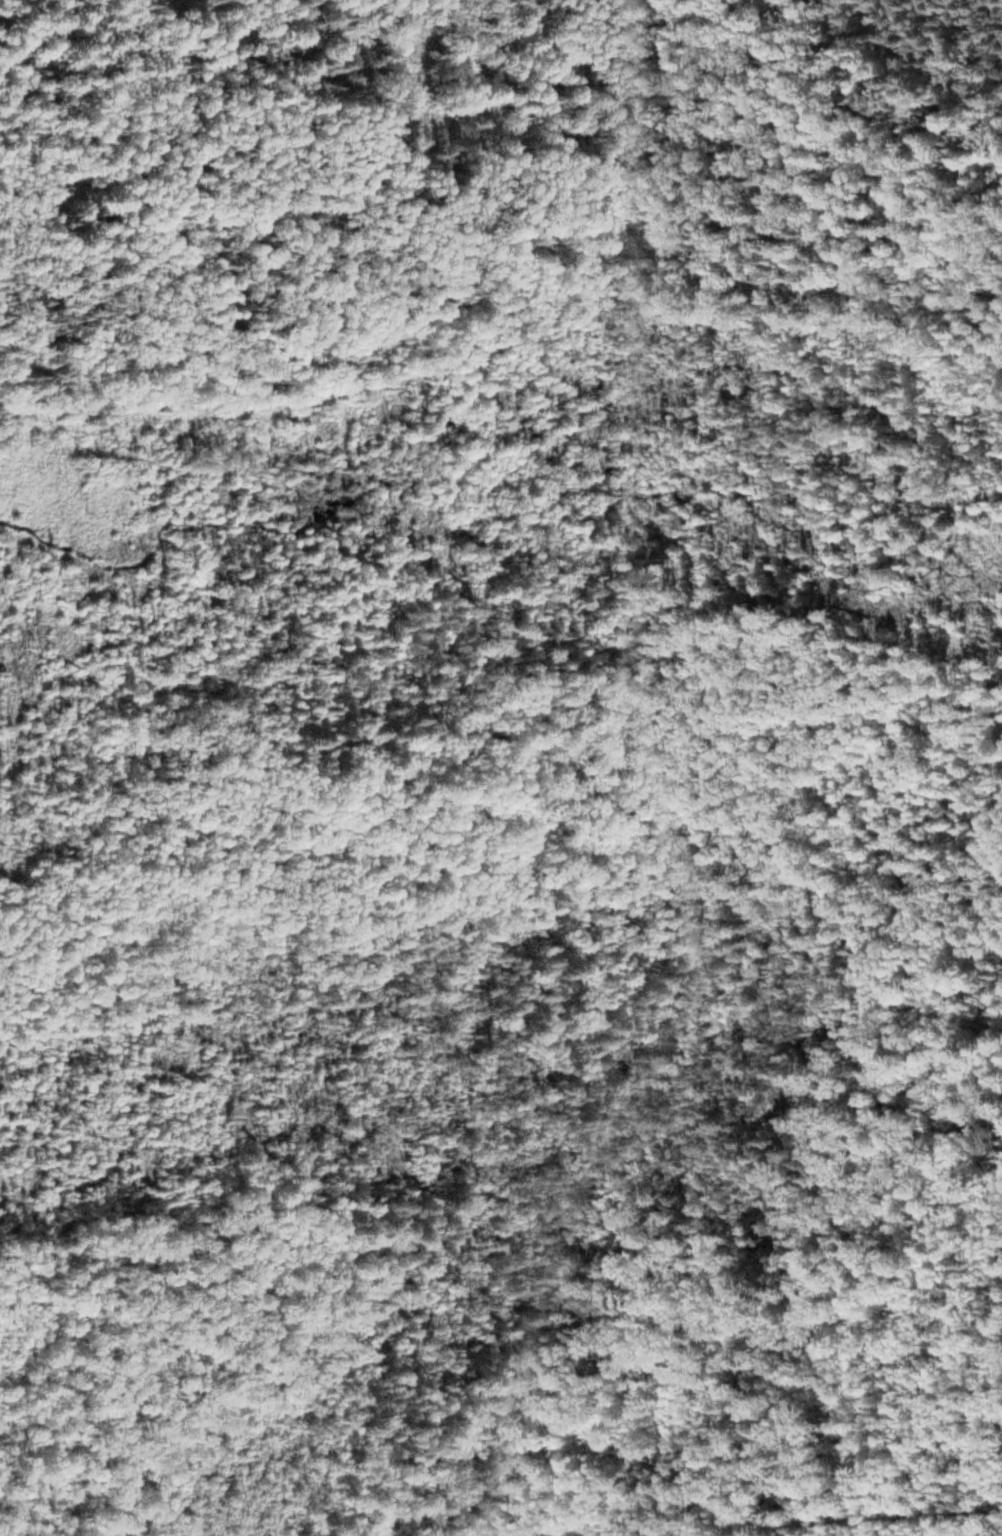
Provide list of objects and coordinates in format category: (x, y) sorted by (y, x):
road: (244, 9)
park: (447, 837)

